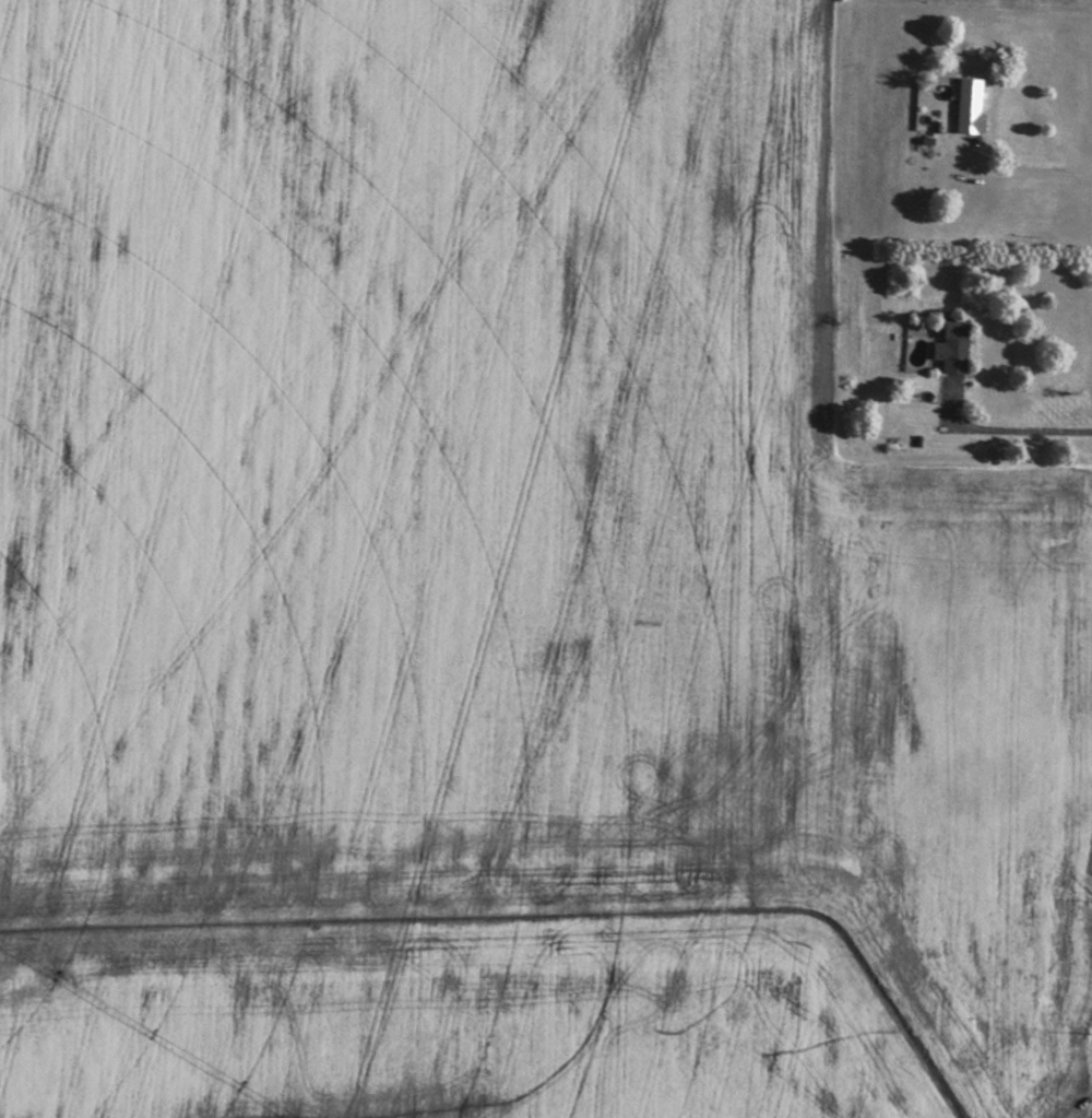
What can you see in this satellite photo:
road: (1022, 165)
road: (987, 428)

